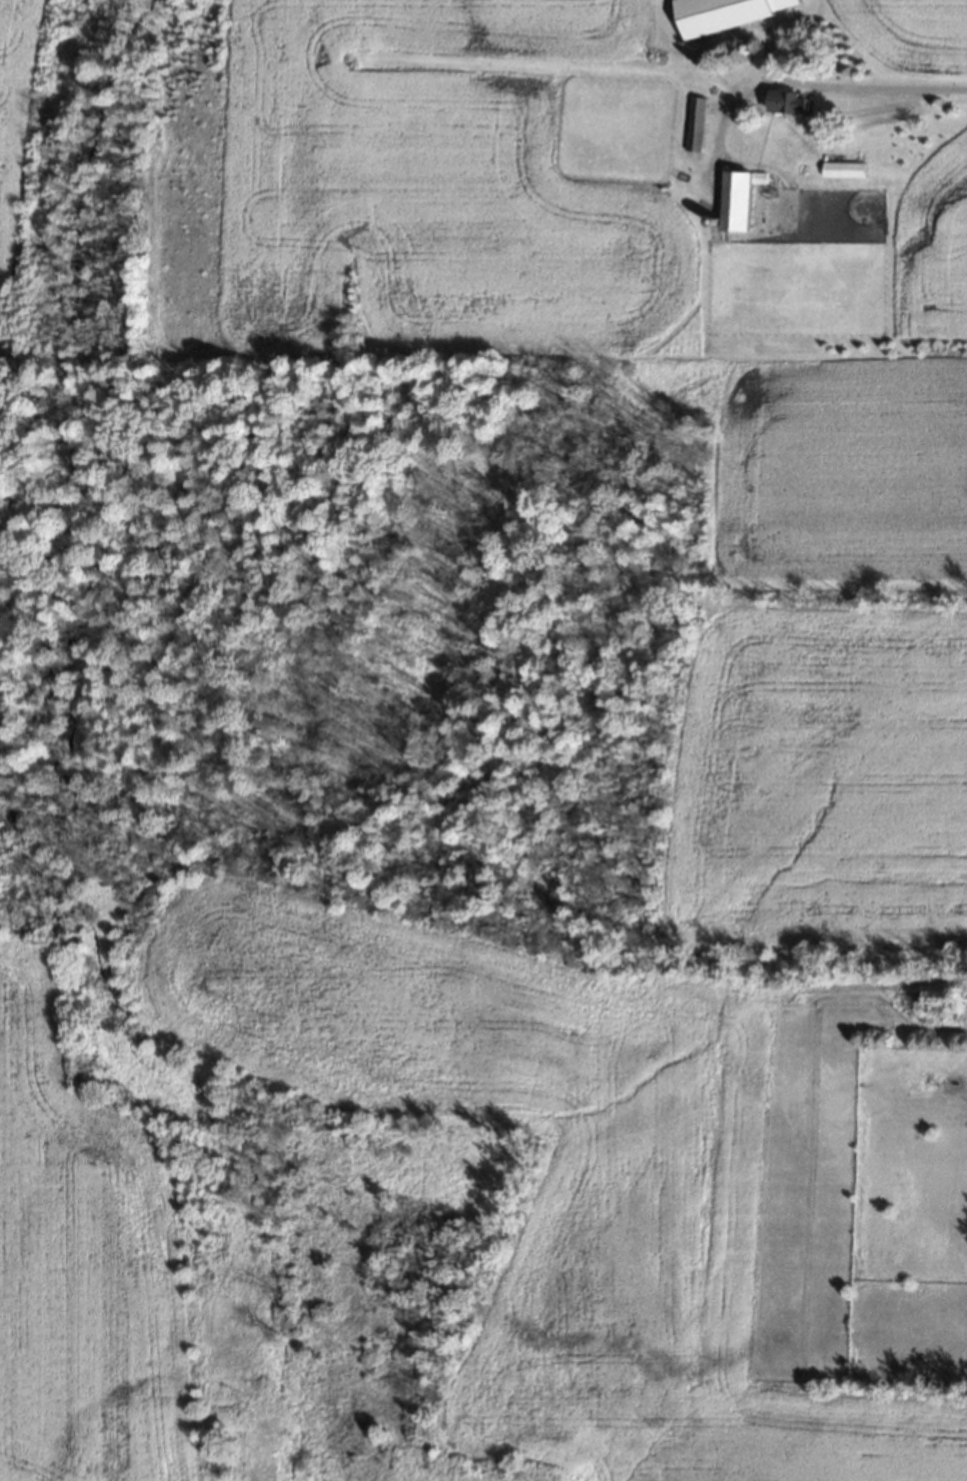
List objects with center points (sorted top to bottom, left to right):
building: (725, 14)
road: (819, 85)
building: (790, 102)
building: (694, 123)
building: (854, 168)
building: (740, 199)

